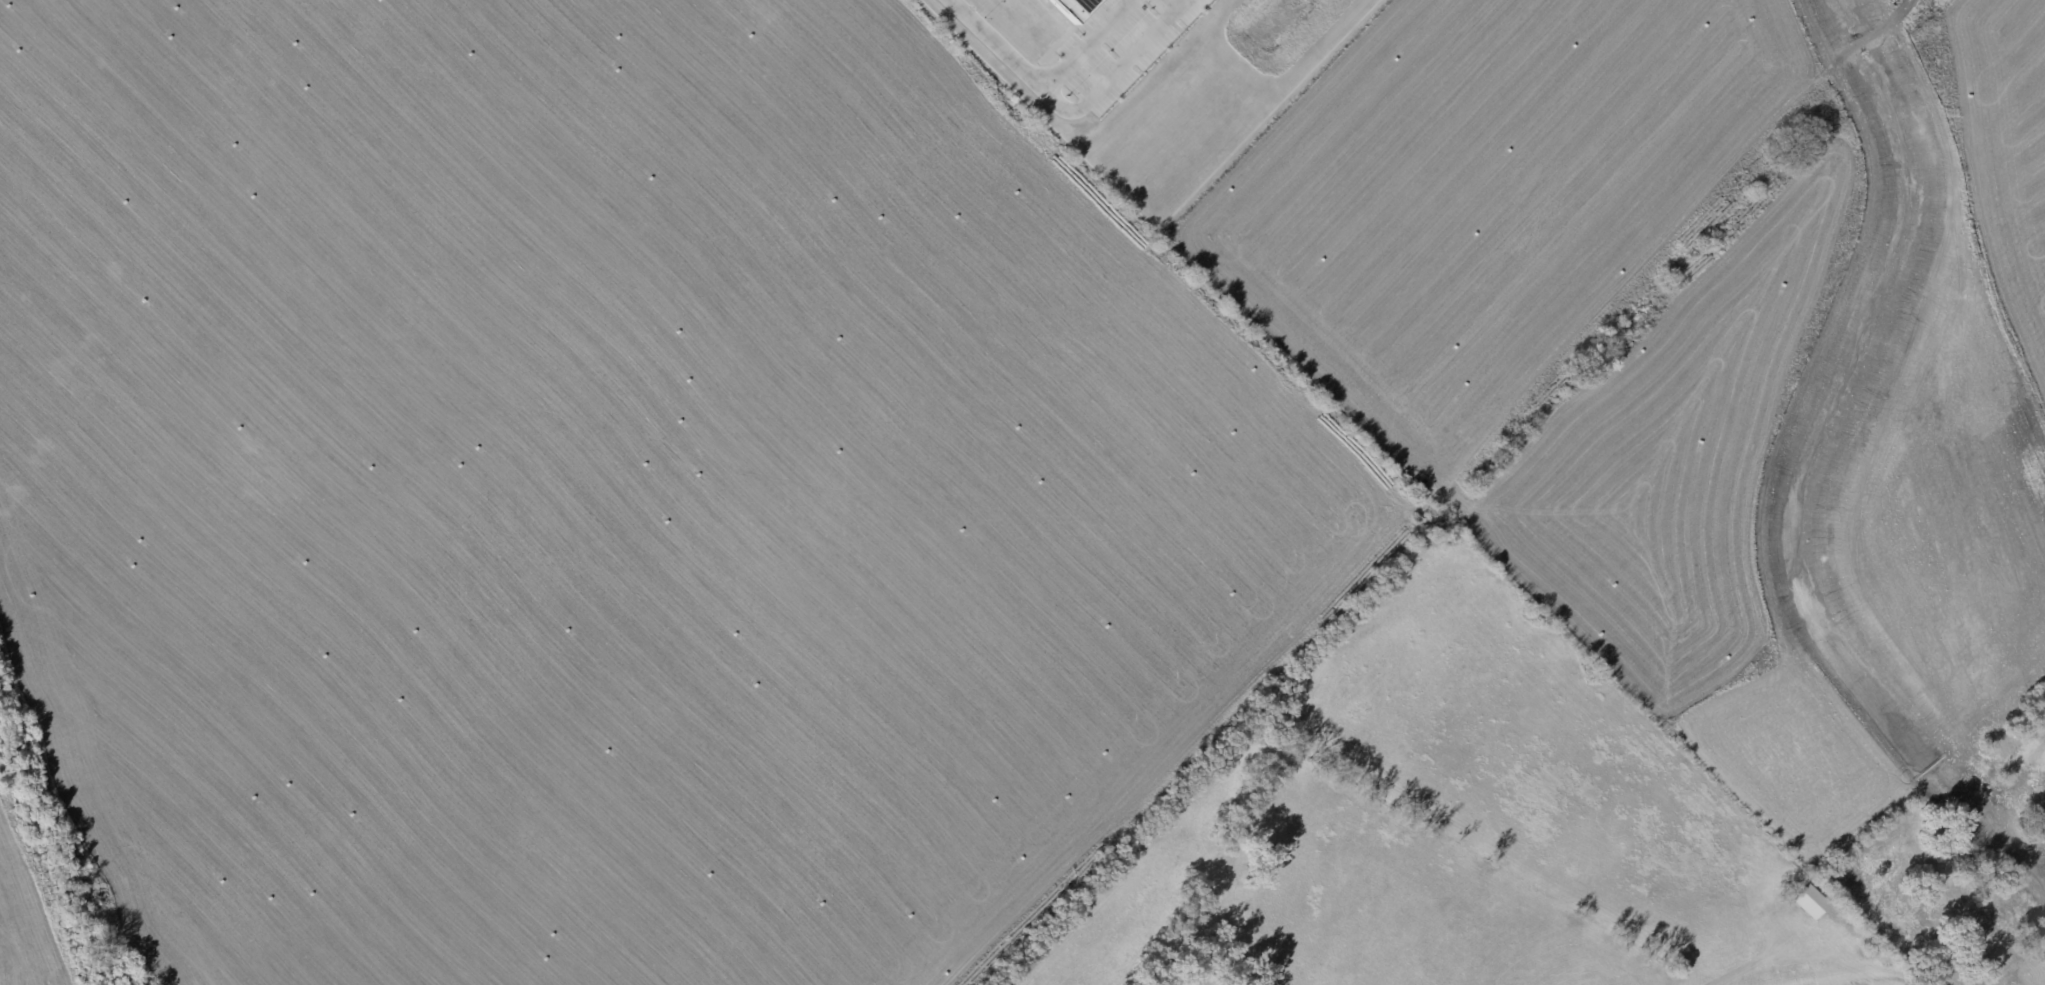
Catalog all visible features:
road: (1127, 51)
road: (1048, 73)
building: (1807, 901)
road: (1738, 970)

